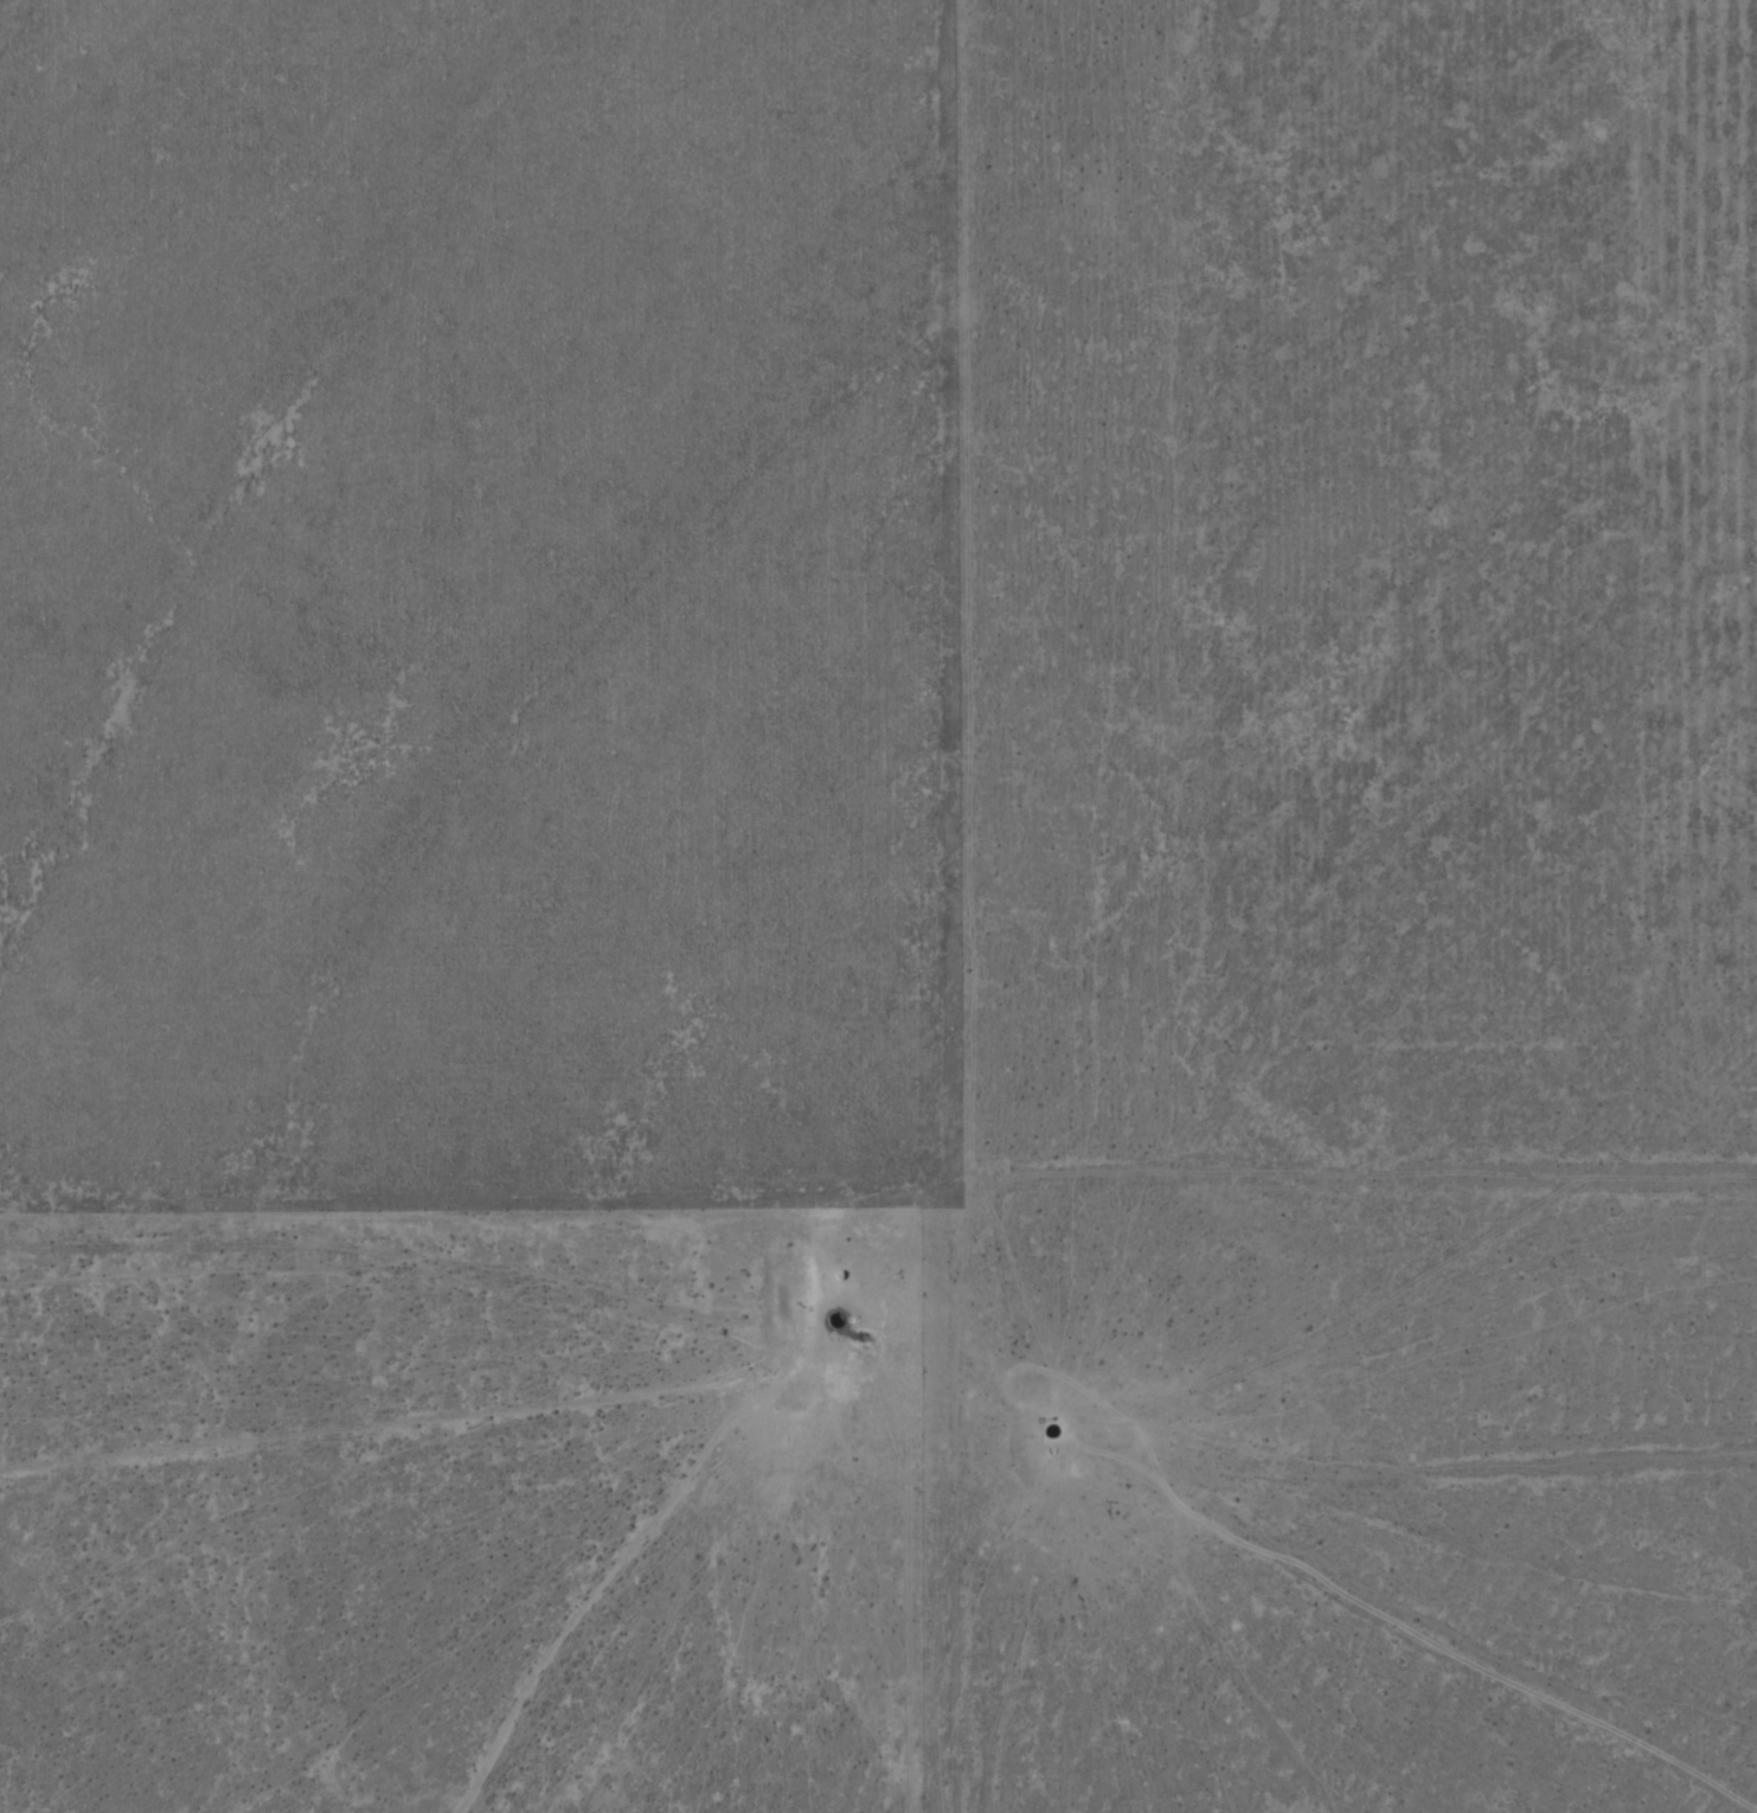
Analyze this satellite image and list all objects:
road: (350, 1299)

